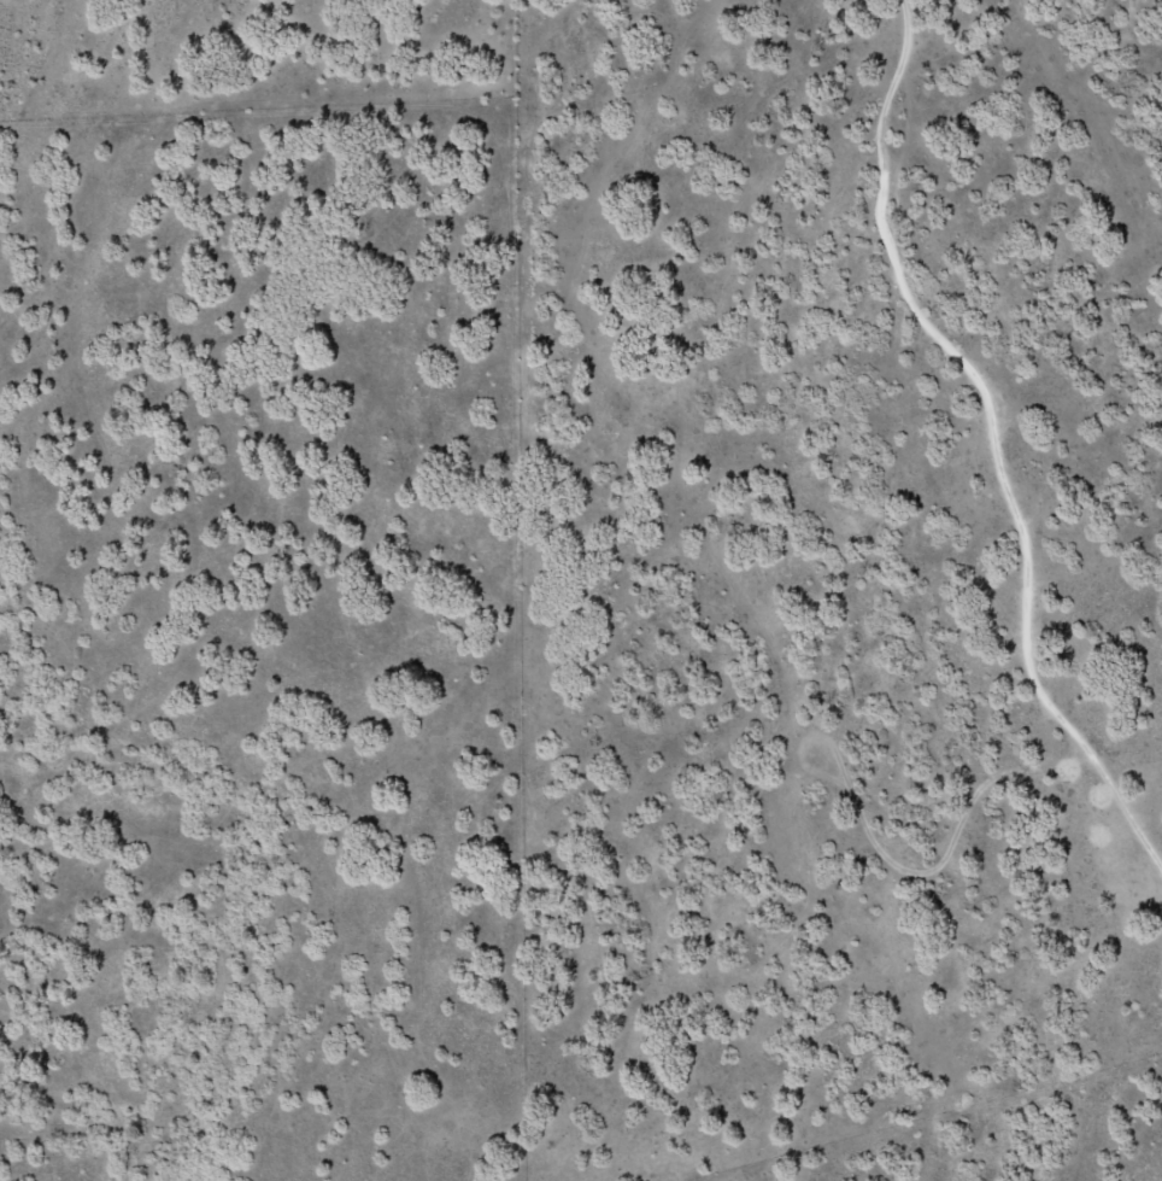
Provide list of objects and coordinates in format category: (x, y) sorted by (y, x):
road: (953, 417)

